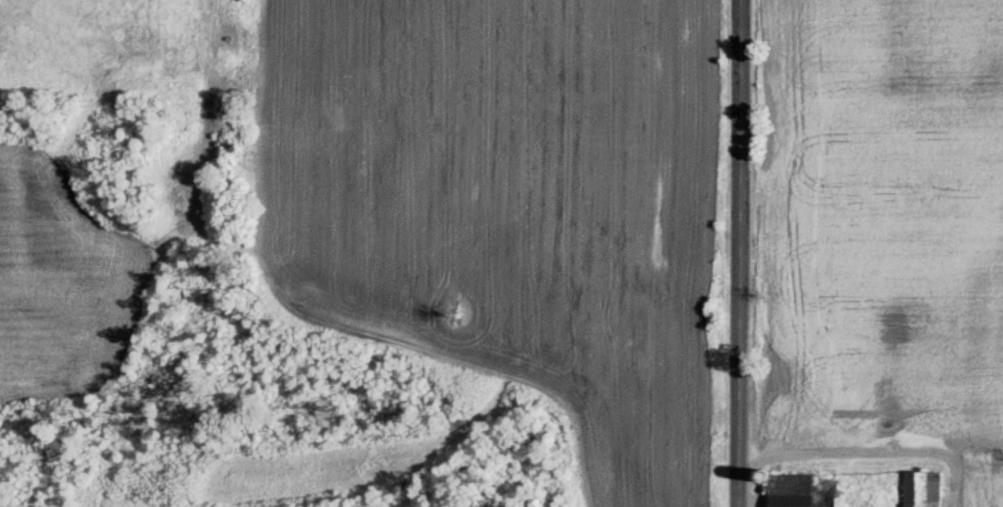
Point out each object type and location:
road: (746, 253)
building: (921, 489)

